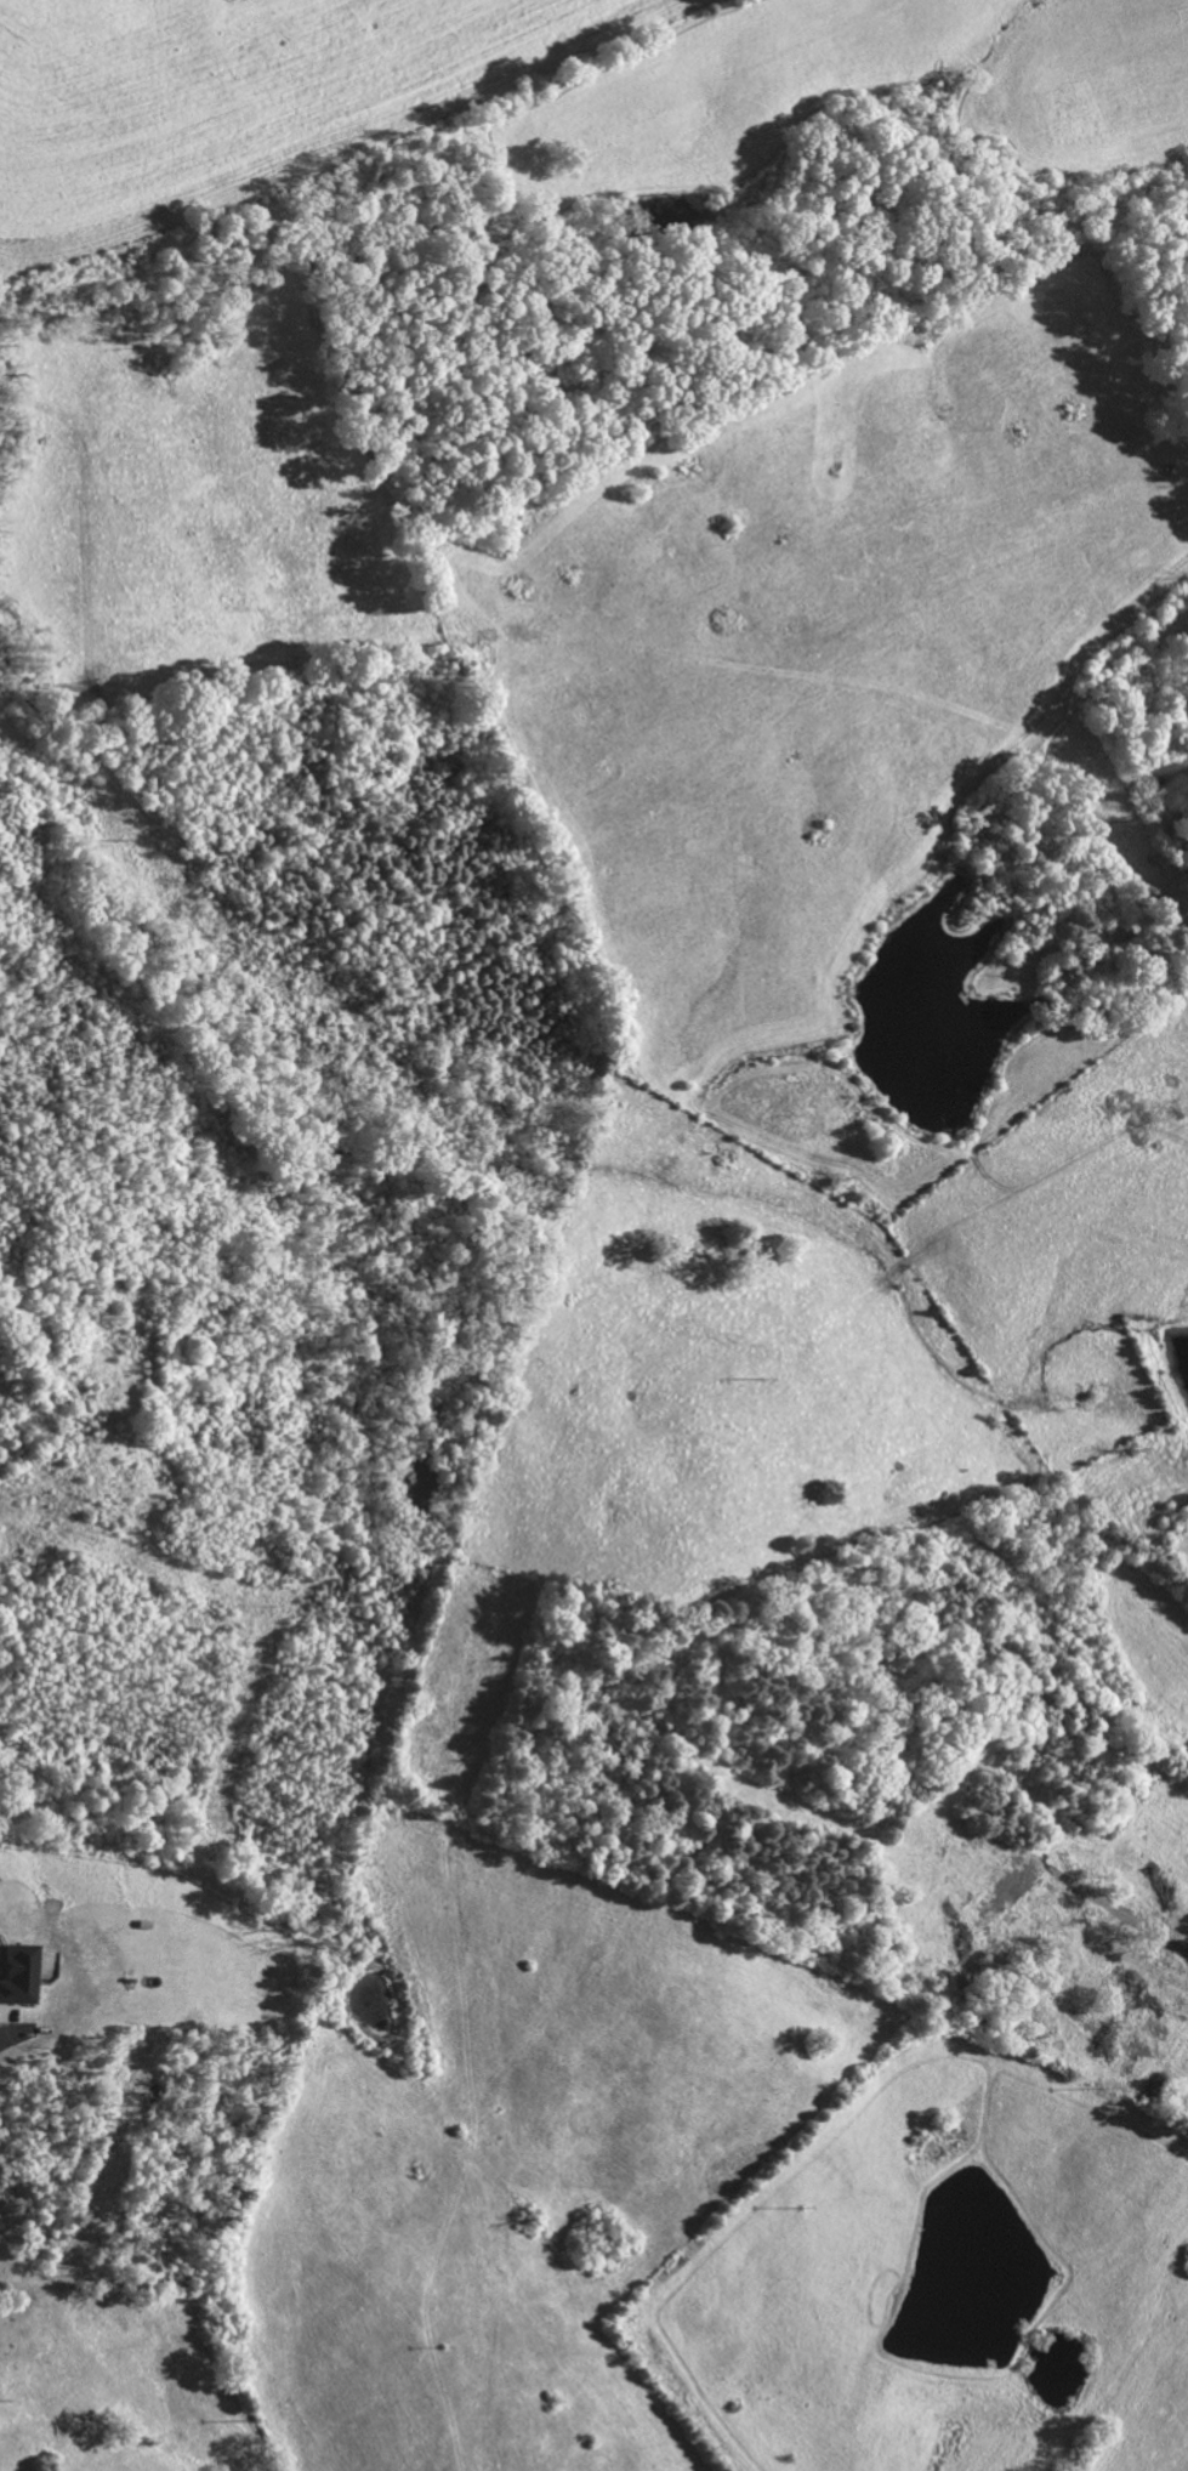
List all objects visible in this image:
building: (15, 1971)

